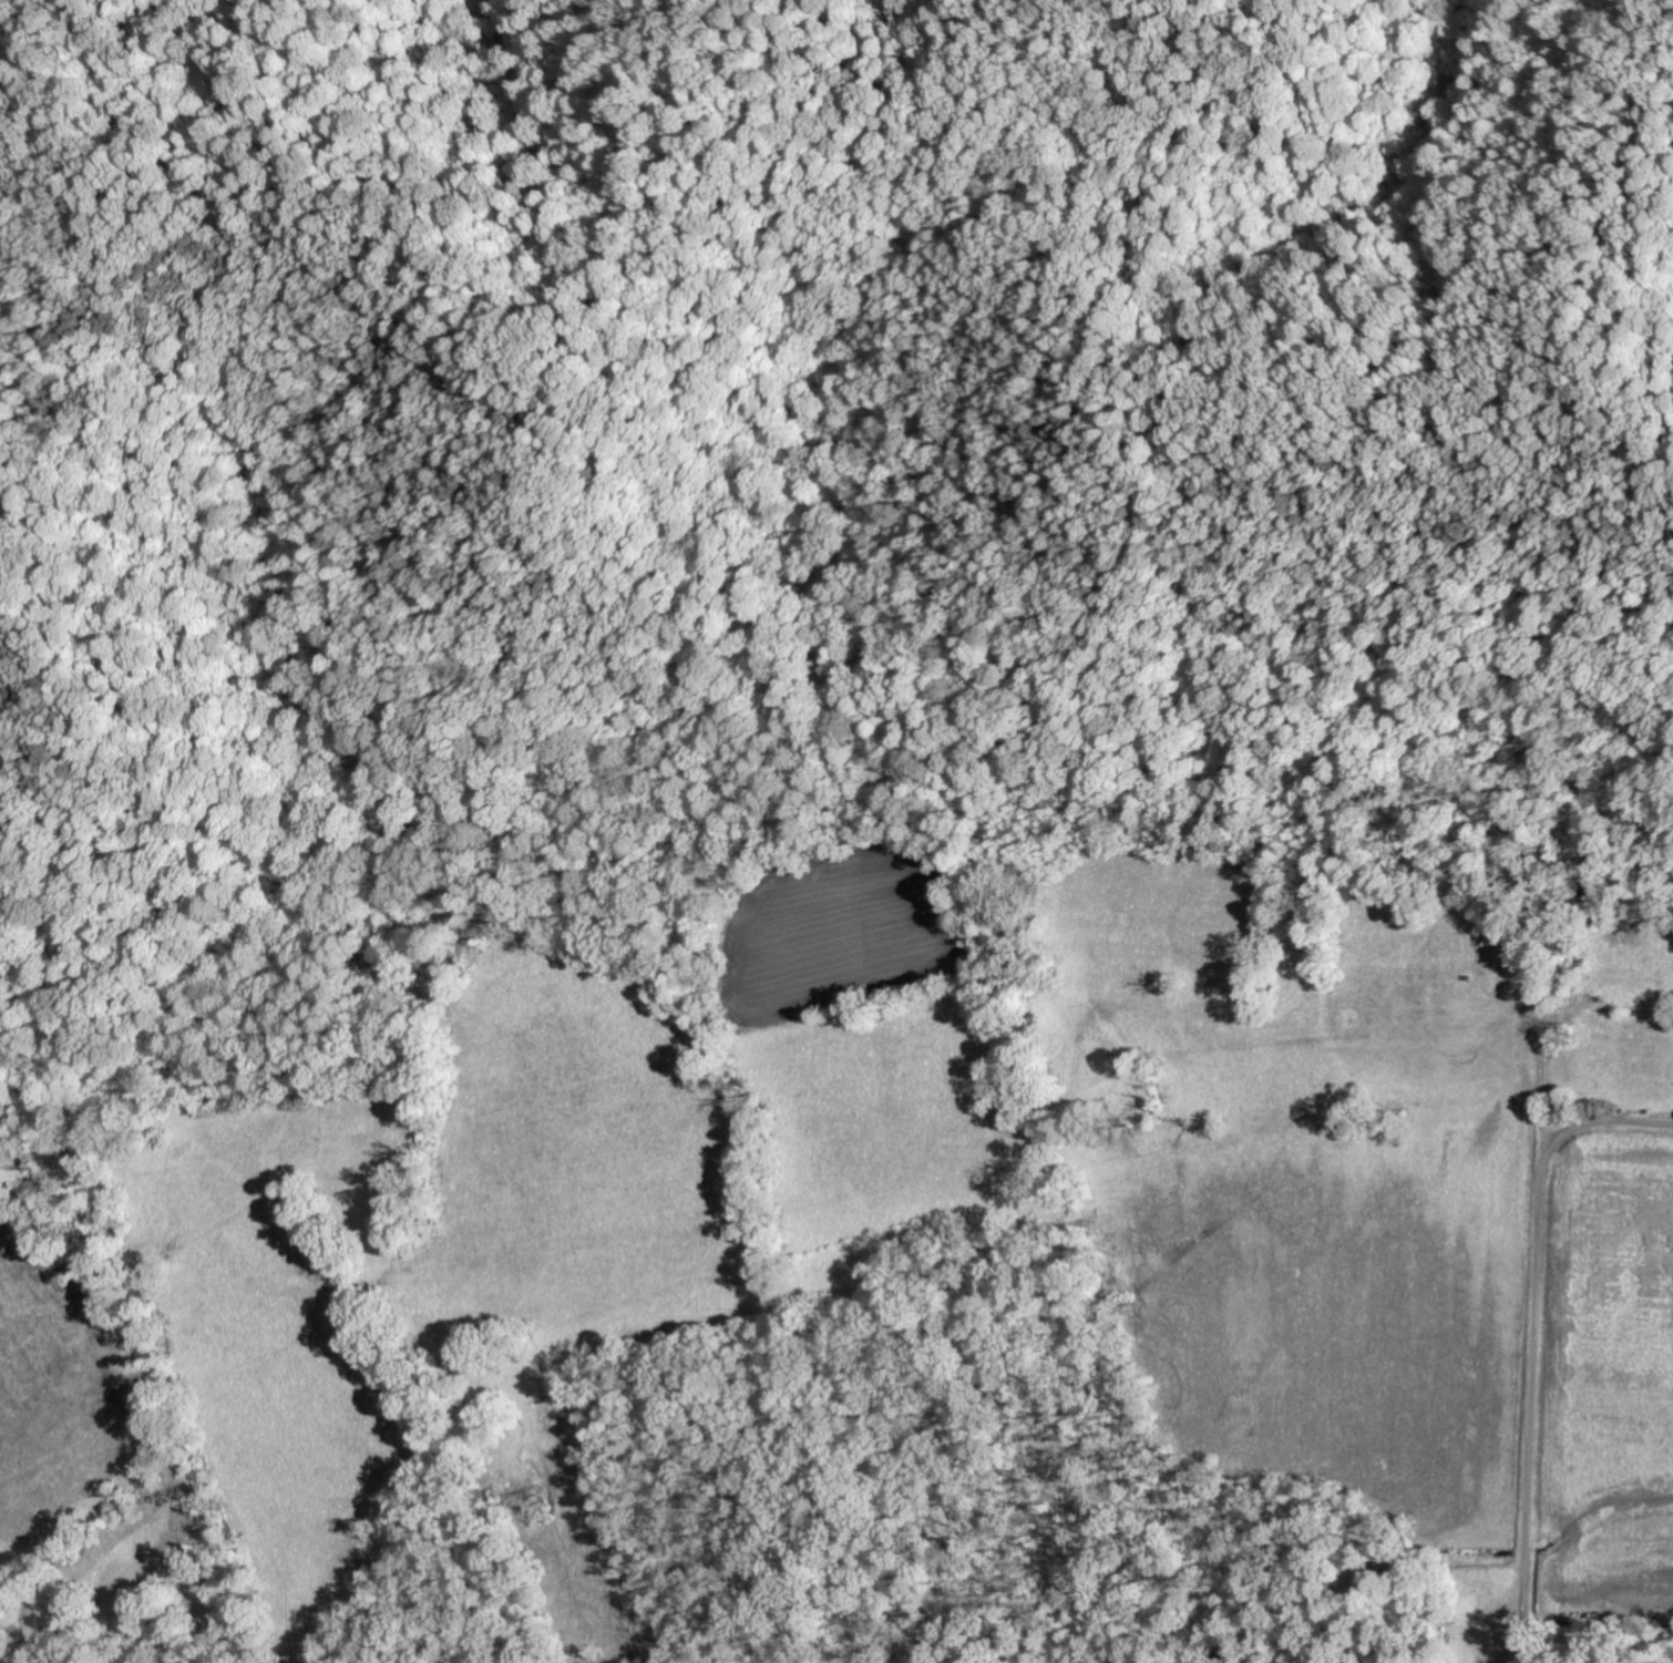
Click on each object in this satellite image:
road: (1531, 1338)

